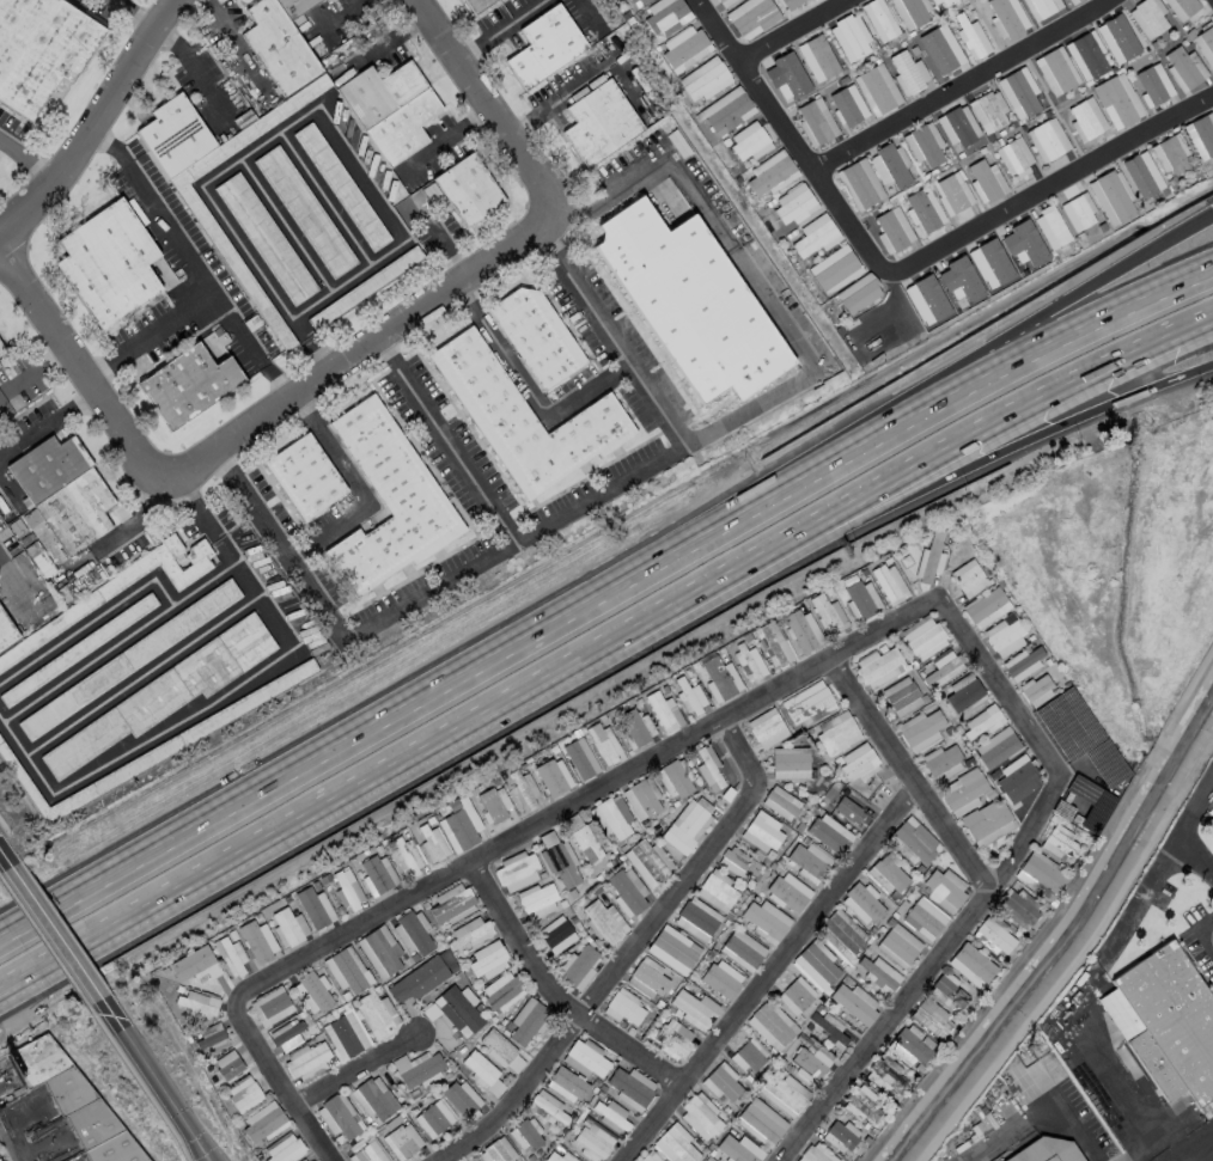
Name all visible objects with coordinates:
building: (812, 0)
building: (1078, 0)
building: (720, 1)
road: (848, 1)
building: (1072, 1)
building: (636, 2)
building: (791, 2)
building: (938, 2)
building: (947, 2)
building: (475, 5)
building: (1043, 7)
building: (1187, 7)
road: (525, 10)
building: (915, 12)
road: (586, 13)
road: (134, 14)
road: (342, 14)
building: (665, 16)
building: (1151, 17)
building: (756, 18)
building: (1006, 18)
building: (880, 20)
road: (798, 32)
building: (902, 36)
building: (852, 37)
building: (969, 37)
building: (1120, 37)
building: (1208, 39)
road: (480, 41)
road: (382, 43)
road: (234, 44)
building: (544, 45)
building: (684, 48)
building: (41, 49)
building: (915, 51)
building: (940, 54)
building: (1090, 56)
building: (822, 57)
road: (598, 66)
road: (194, 67)
building: (1184, 68)
building: (1057, 71)
building: (907, 73)
building: (703, 78)
building: (785, 78)
building: (1150, 83)
building: (819, 84)
road: (958, 84)
building: (877, 91)
building: (1022, 94)
building: (1115, 102)
building: (846, 108)
building: (390, 109)
road: (480, 110)
building: (725, 111)
building: (992, 111)
road: (525, 117)
building: (1085, 121)
building: (599, 122)
road: (93, 124)
building: (815, 124)
road: (286, 126)
building: (959, 127)
building: (1203, 135)
building: (175, 136)
road: (441, 141)
building: (749, 141)
building: (1047, 142)
building: (927, 147)
building: (1174, 155)
building: (1013, 158)
road: (28, 159)
building: (894, 166)
road: (678, 171)
building: (772, 173)
building: (1140, 177)
building: (985, 182)
building: (1160, 184)
building: (340, 187)
building: (860, 187)
building: (468, 189)
building: (952, 195)
building: (1115, 197)
building: (794, 203)
building: (304, 212)
building: (924, 212)
building: (1081, 213)
road: (581, 215)
building: (1057, 228)
building: (1103, 228)
building: (892, 232)
building: (815, 240)
road: (1, 243)
road: (1, 244)
building: (108, 263)
road: (904, 268)
road: (190, 271)
building: (836, 271)
building: (862, 298)
building: (690, 301)
building: (963, 306)
building: (947, 313)
building: (535, 335)
road: (248, 348)
building: (1, 349)
road: (358, 352)
road: (79, 366)
road: (812, 369)
road: (949, 371)
road: (35, 374)
building: (188, 384)
road: (528, 391)
building: (524, 418)
road: (48, 423)
road: (445, 439)
road: (956, 448)
road: (956, 471)
building: (304, 476)
road: (8, 488)
road: (354, 488)
building: (63, 491)
building: (388, 500)
road: (142, 526)
road: (526, 531)
building: (929, 558)
road: (626, 568)
building: (968, 578)
building: (889, 583)
building: (861, 599)
building: (986, 607)
building: (828, 613)
building: (800, 630)
building: (6, 634)
building: (1004, 634)
building: (924, 638)
building: (772, 643)
building: (749, 662)
building: (1022, 662)
building: (879, 667)
building: (943, 668)
road: (798, 674)
building: (720, 678)
building: (1036, 690)
building: (963, 695)
building: (160, 696)
building: (689, 696)
building: (902, 696)
building: (806, 703)
building: (664, 711)
building: (982, 721)
building: (1068, 723)
building: (633, 728)
building: (767, 728)
building: (920, 731)
building: (836, 732)
building: (604, 745)
building: (996, 747)
building: (580, 758)
road: (106, 760)
building: (858, 762)
building: (941, 762)
building: (790, 763)
road: (395, 766)
building: (708, 769)
road: (908, 774)
building: (553, 776)
building: (673, 778)
building: (1014, 778)
building: (524, 790)
building: (962, 792)
building: (641, 799)
building: (780, 802)
building: (494, 803)
building: (848, 807)
building: (611, 817)
building: (987, 823)
building: (459, 824)
building: (688, 824)
building: (1209, 827)
building: (761, 832)
building: (829, 833)
building: (583, 838)
building: (912, 842)
building: (1057, 844)
building: (433, 845)
building: (406, 856)
road: (1196, 858)
road: (4, 860)
building: (557, 860)
building: (809, 861)
building: (647, 862)
building: (738, 862)
road: (1164, 869)
building: (517, 872)
building: (1038, 873)
building: (377, 874)
building: (886, 874)
building: (347, 888)
building: (943, 888)
building: (627, 891)
building: (717, 892)
building: (787, 892)
building: (536, 900)
building: (451, 904)
building: (861, 904)
building: (315, 908)
building: (1017, 909)
road: (39, 913)
building: (924, 918)
building: (602, 919)
building: (696, 919)
building: (766, 921)
building: (288, 927)
road: (12, 929)
building: (469, 931)
road: (51, 933)
building: (412, 933)
building: (555, 934)
building: (841, 935)
building: (994, 936)
road: (1209, 939)
building: (257, 941)
building: (897, 946)
road: (62, 949)
building: (672, 949)
building: (742, 949)
building: (379, 952)
road: (628, 954)
building: (231, 957)
building: (487, 960)
building: (194, 964)
building: (817, 964)
building: (971, 965)
building: (578, 967)
building: (346, 970)
road: (22, 972)
road: (769, 972)
building: (877, 973)
building: (422, 977)
building: (646, 978)
building: (721, 979)
building: (501, 991)
building: (311, 992)
building: (949, 992)
road: (553, 994)
building: (796, 996)
building: (854, 1003)
building: (197, 1004)
building: (270, 1007)
building: (624, 1008)
building: (694, 1009)
building: (377, 1015)
building: (933, 1019)
building: (526, 1021)
building: (772, 1026)
building: (1170, 1031)
building: (287, 1034)
building: (345, 1034)
building: (209, 1035)
building: (672, 1038)
building: (909, 1046)
building: (500, 1051)
building: (749, 1055)
building: (585, 1058)
building: (309, 1061)
building: (809, 1062)
building: (227, 1065)
building: (416, 1068)
road: (354, 1071)
building: (482, 1073)
building: (885, 1075)
road: (153, 1080)
building: (720, 1082)
building: (566, 1084)
building: (630, 1087)
building: (243, 1094)
building: (784, 1094)
building: (461, 1098)
building: (374, 1099)
building: (862, 1105)
building: (543, 1106)
road: (1042, 1107)
building: (339, 1116)
building: (614, 1116)
building: (700, 1117)
building: (433, 1118)
building: (263, 1122)
building: (760, 1123)
building: (524, 1135)
building: (840, 1136)
building: (402, 1141)
building: (593, 1141)
building: (675, 1144)
building: (284, 1148)
road: (1195, 1148)
building: (738, 1149)
building: (1056, 1150)
building: (496, 1151)
building: (816, 1154)
building: (557, 1157)
building: (648, 1157)
building: (304, 1160)
building: (471, 1160)
building: (713, 1160)

